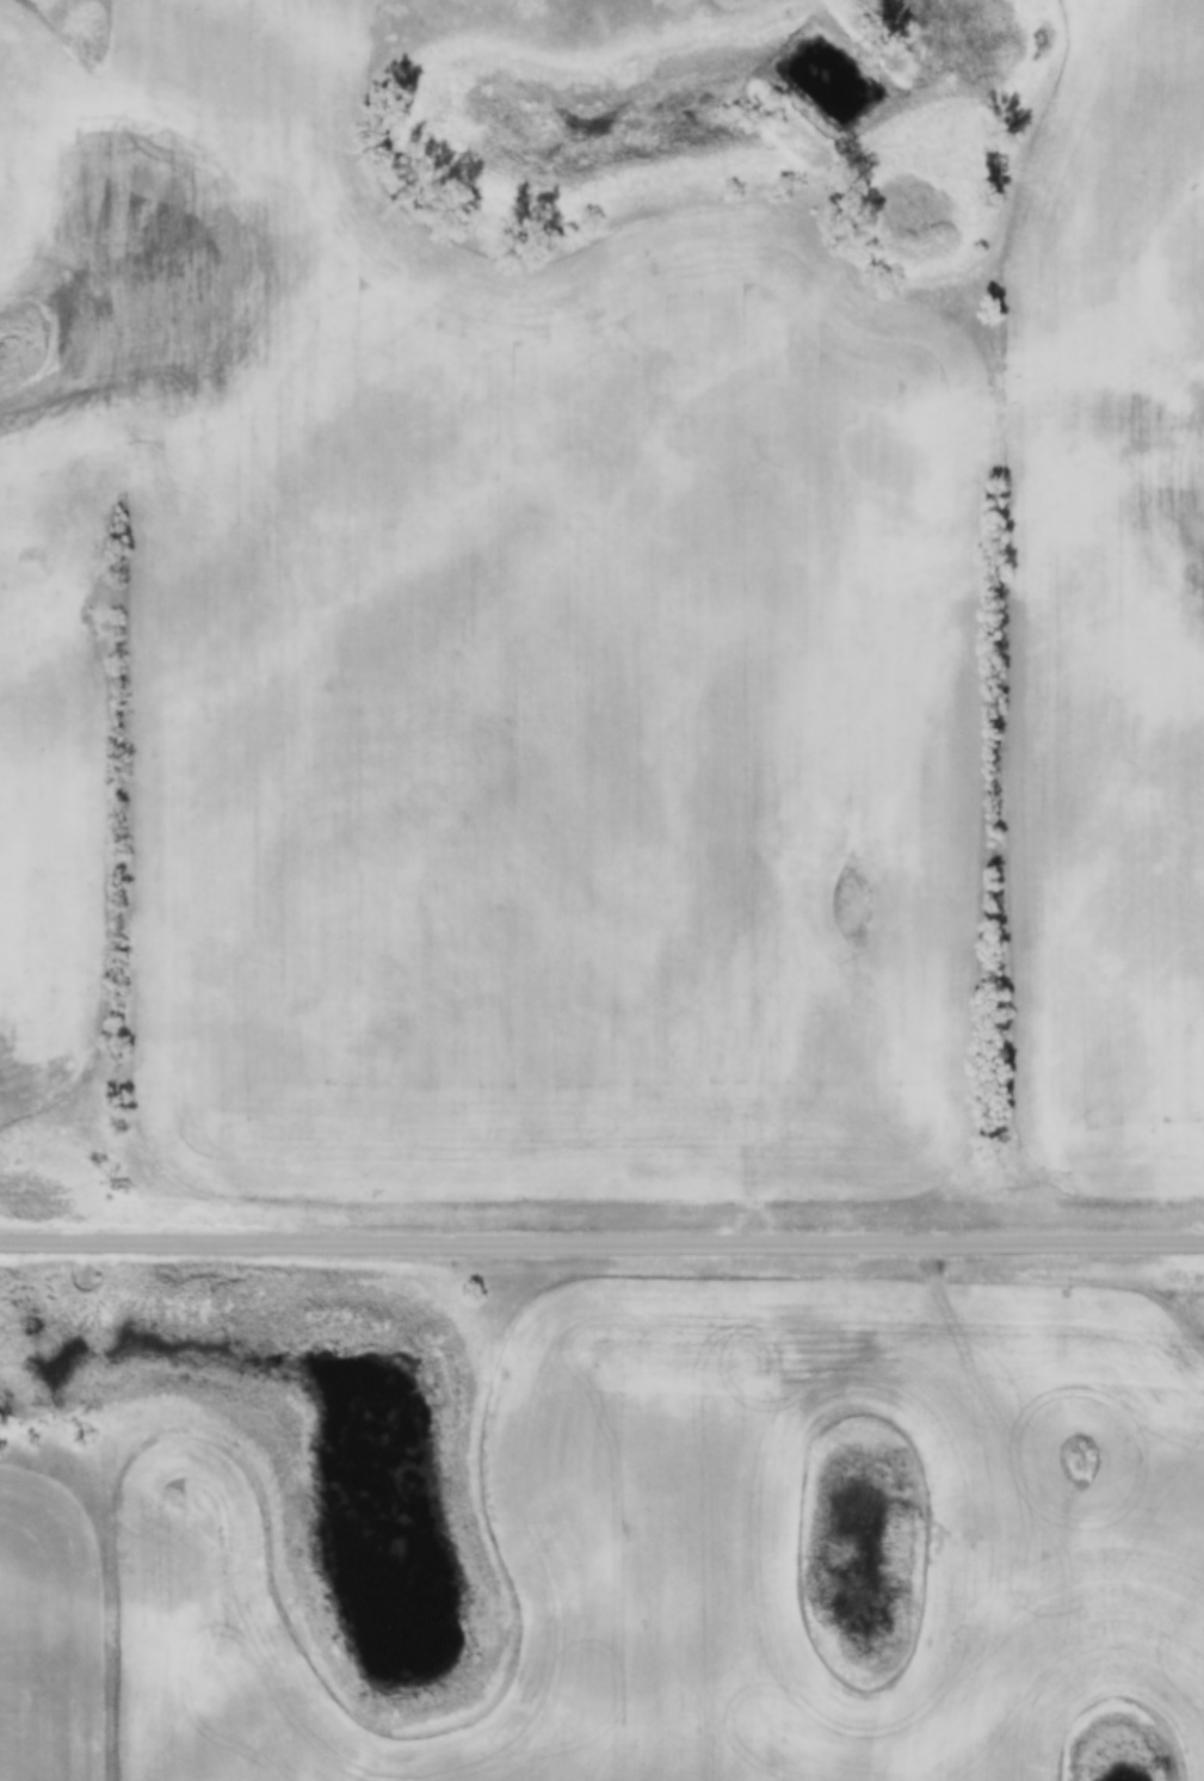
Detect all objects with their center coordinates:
road: (601, 1246)

